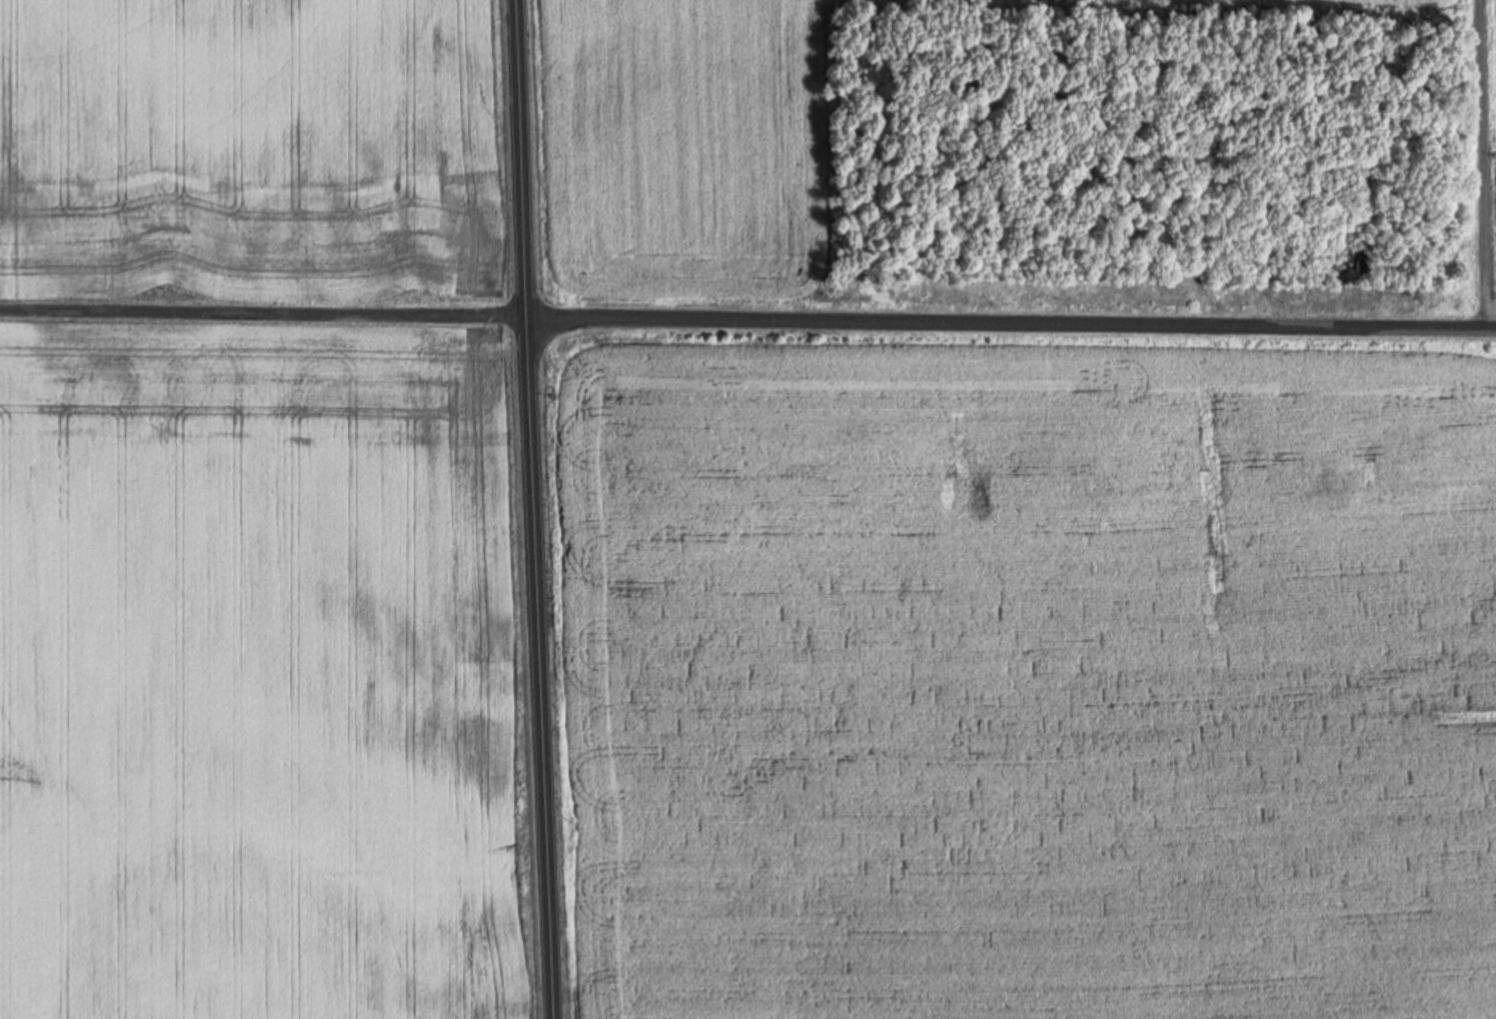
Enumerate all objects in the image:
crop: (677, 153)
road: (1484, 162)
road: (748, 312)
road: (538, 509)
crop: (269, 515)

